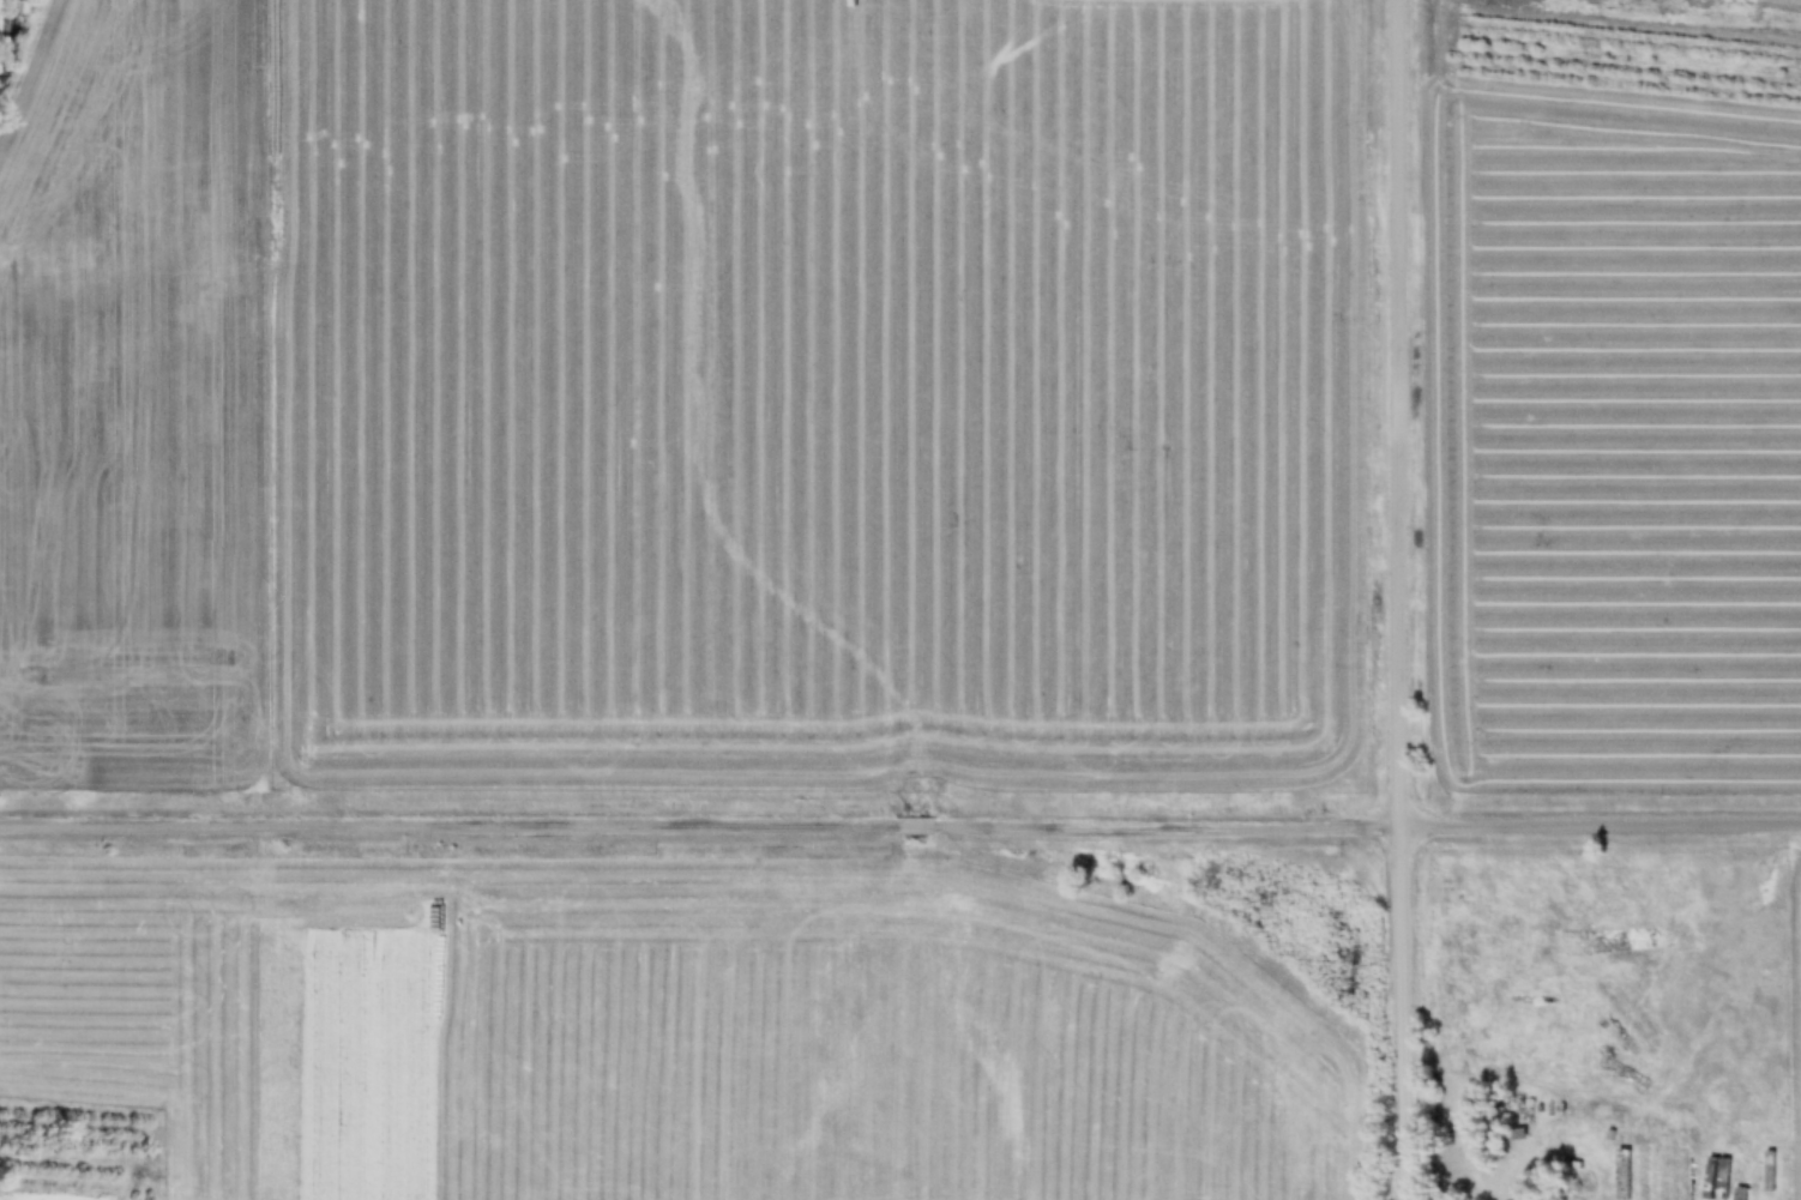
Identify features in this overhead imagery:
road: (1403, 599)
road: (899, 822)
building: (1445, 1116)

